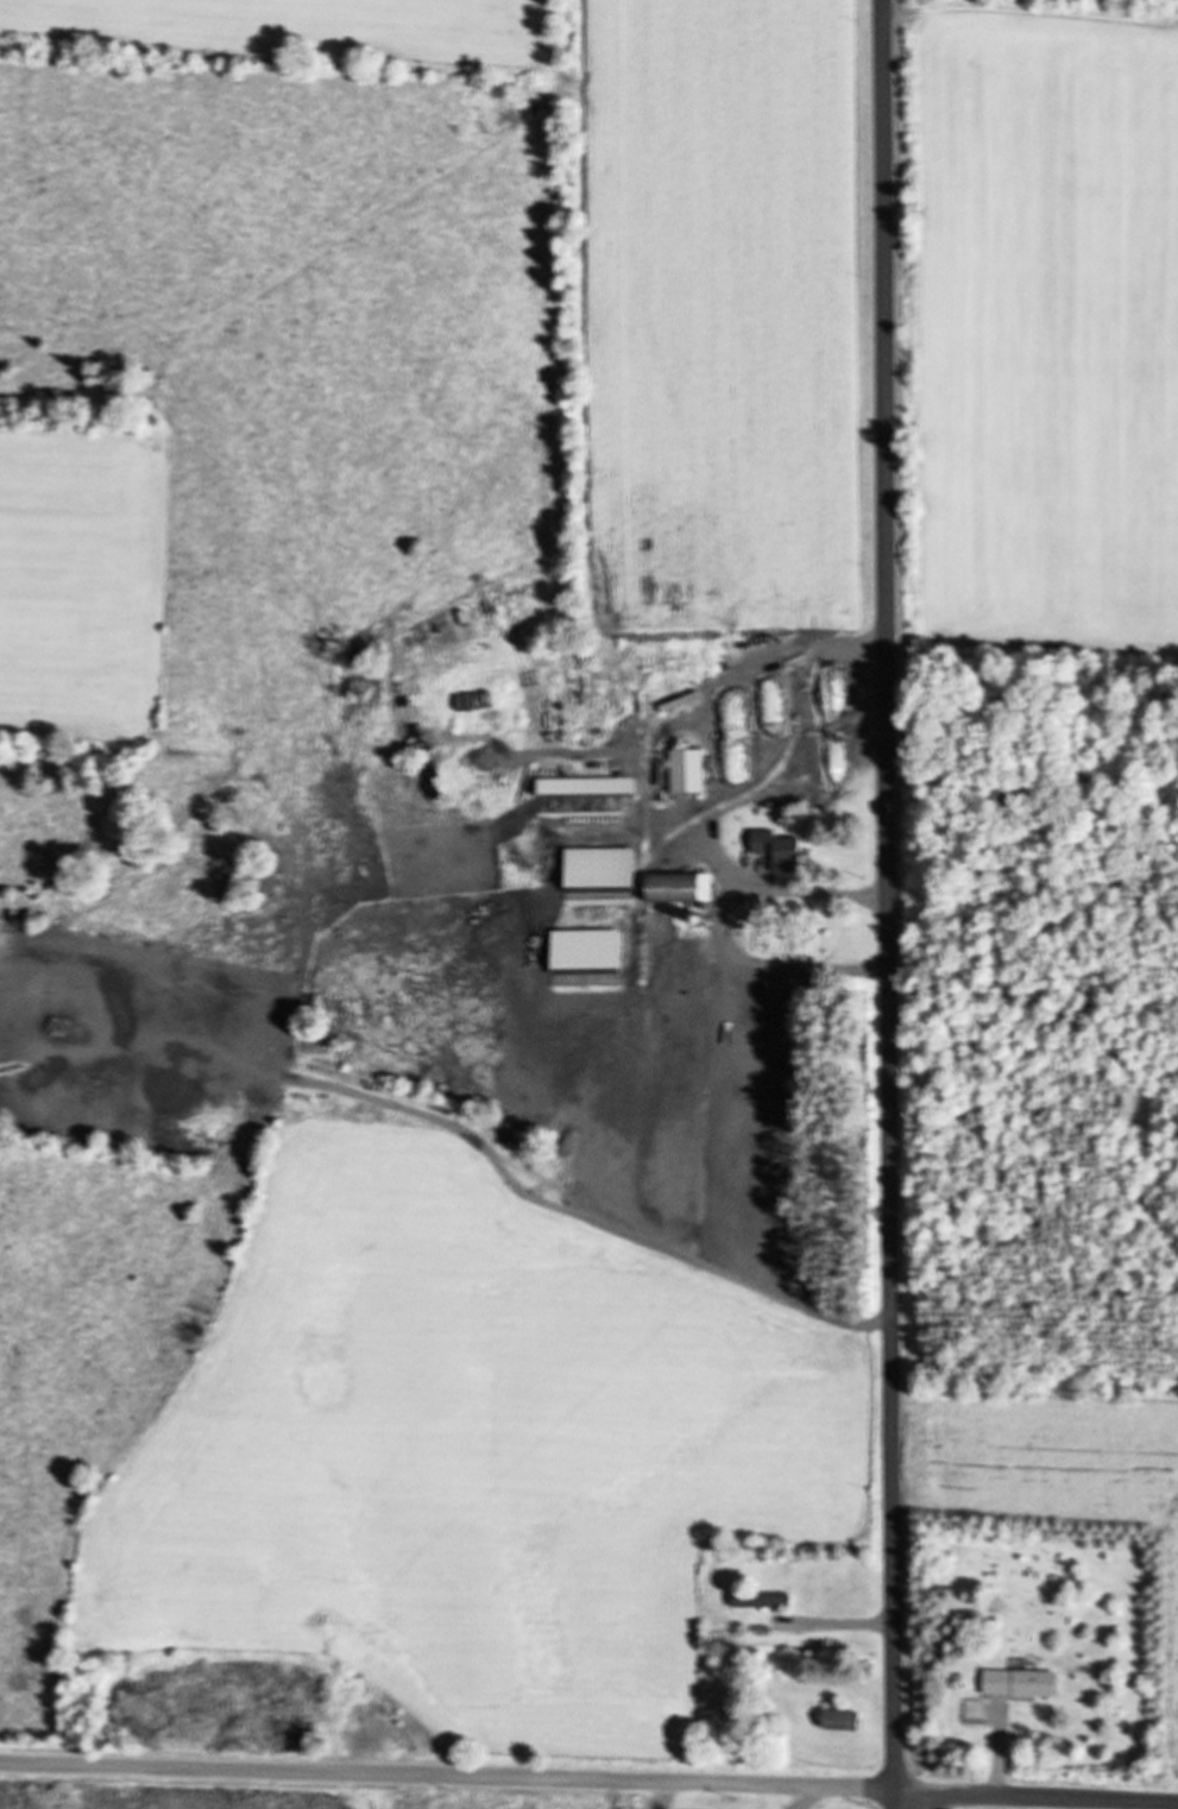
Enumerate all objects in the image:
building: (684, 770)
building: (776, 850)
building: (653, 887)
road: (892, 904)
building: (760, 1599)
building: (1019, 1682)
building: (974, 1709)
building: (838, 1720)
road: (588, 1783)

